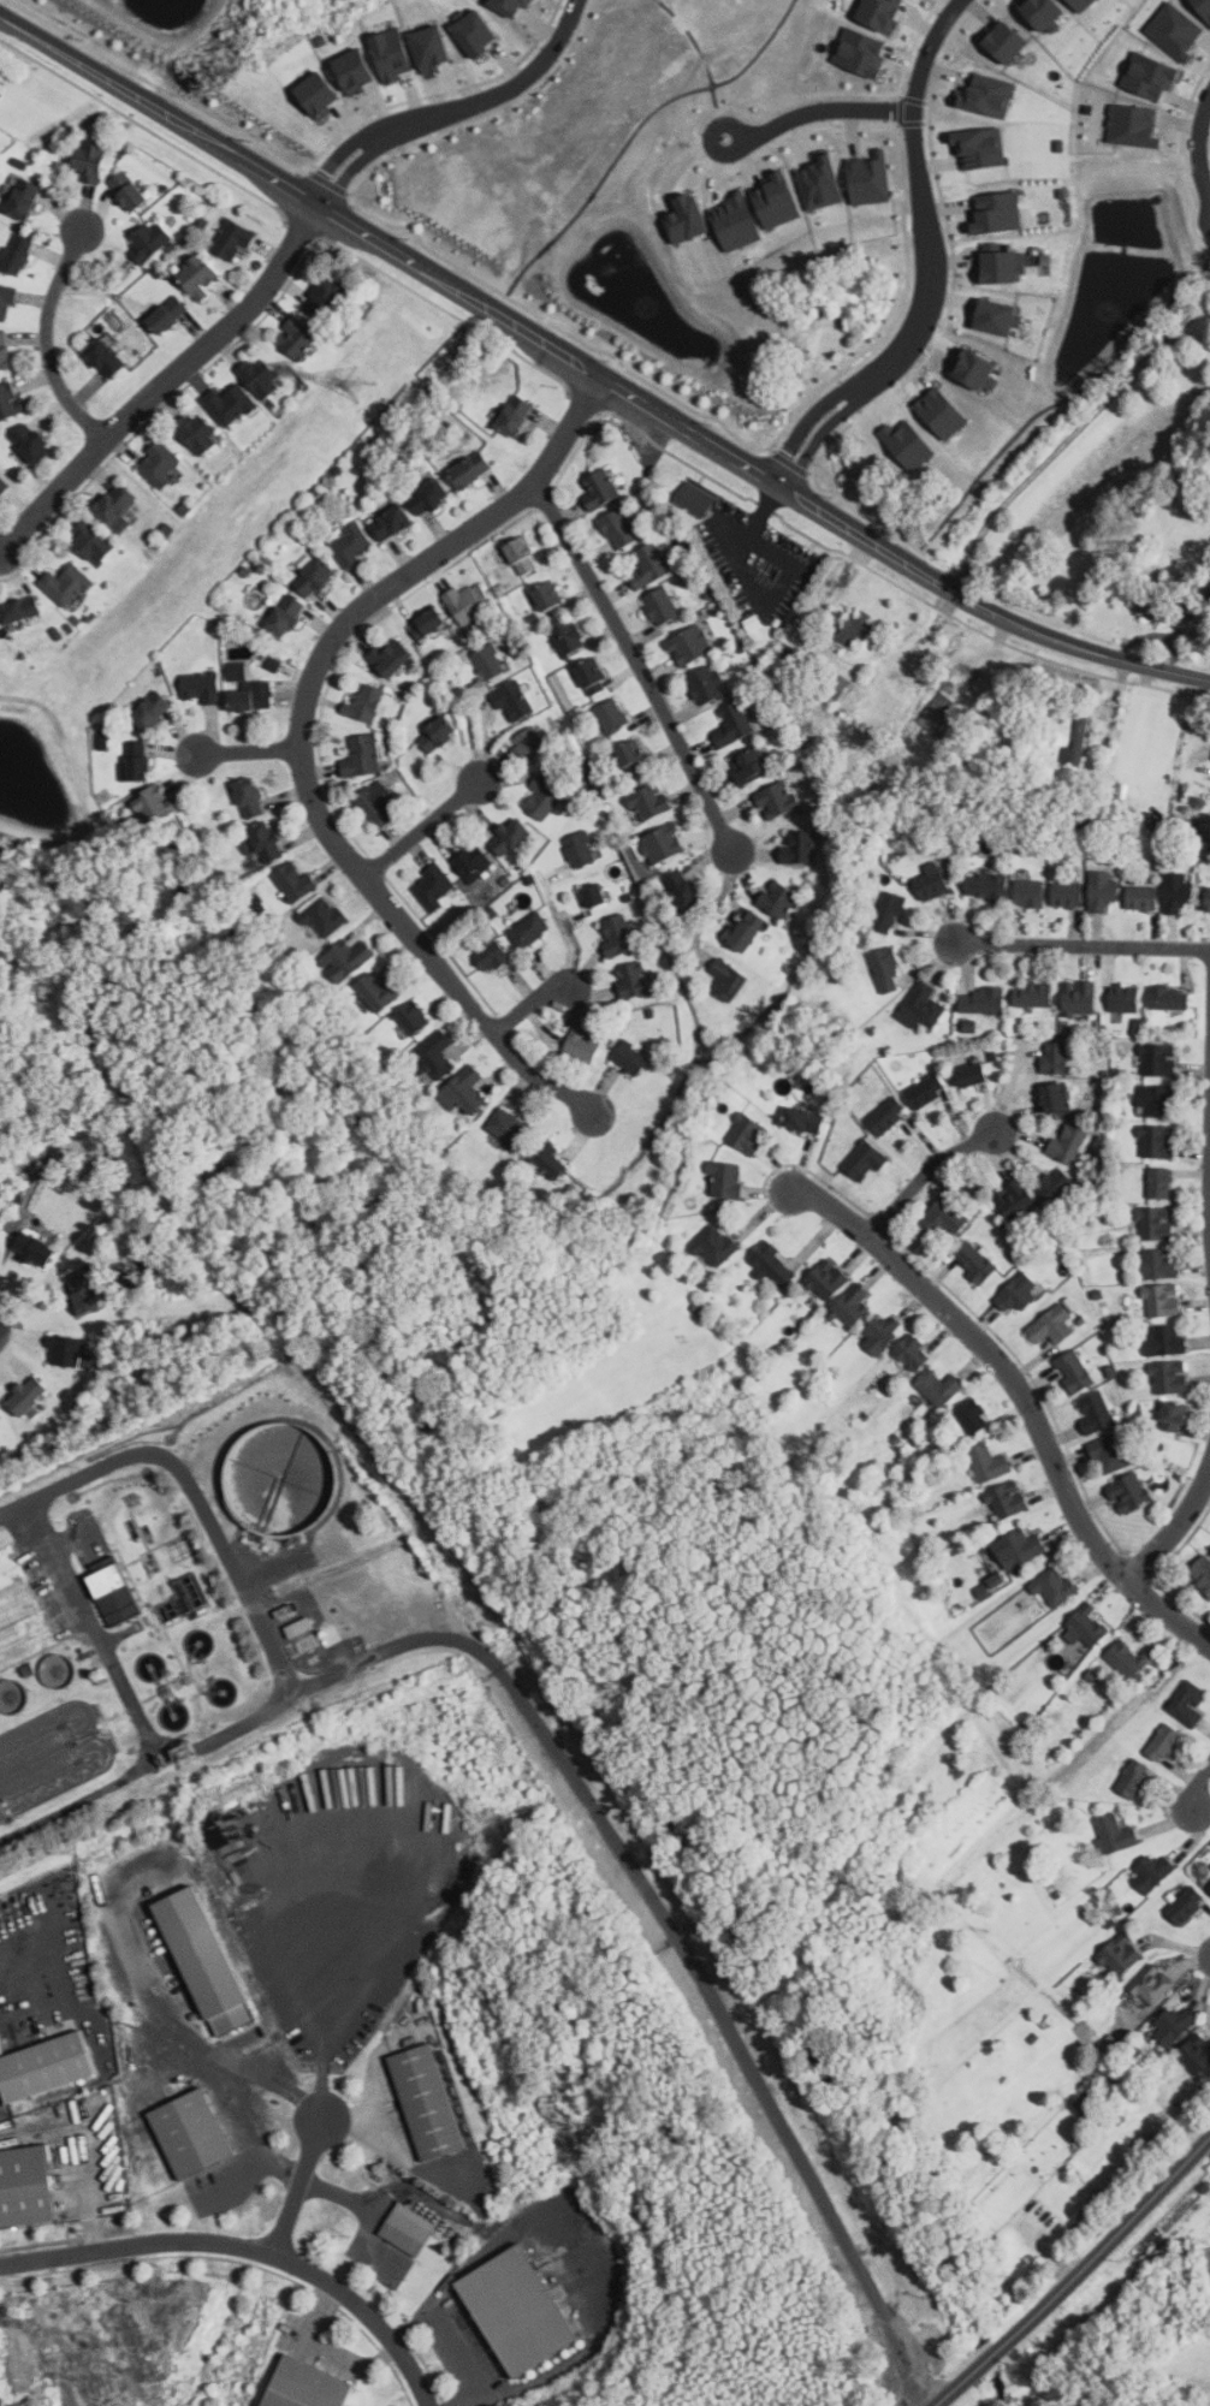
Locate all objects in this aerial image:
building: (1073, 5)
building: (1085, 5)
building: (512, 6)
building: (1204, 7)
building: (884, 13)
building: (1045, 13)
building: (1178, 30)
building: (476, 32)
road: (34, 40)
building: (322, 41)
building: (1008, 42)
building: (433, 49)
building: (862, 53)
building: (393, 54)
building: (357, 72)
building: (1152, 76)
building: (320, 95)
building: (989, 96)
road: (452, 108)
building: (1090, 109)
road: (817, 111)
building: (1135, 126)
road: (1198, 144)
building: (1062, 145)
building: (983, 148)
building: (91, 159)
building: (871, 179)
building: (823, 183)
building: (129, 190)
building: (1063, 192)
road: (920, 197)
building: (25, 198)
building: (779, 202)
building: (1000, 214)
building: (690, 220)
building: (739, 222)
building: (232, 239)
building: (150, 240)
building: (18, 253)
building: (1001, 269)
building: (197, 277)
building: (326, 299)
building: (6, 302)
building: (168, 314)
building: (998, 319)
road: (511, 322)
building: (297, 338)
road: (48, 341)
building: (5, 350)
building: (106, 357)
building: (978, 372)
building: (260, 376)
power tower: (361, 380)
road: (168, 388)
building: (11, 403)
building: (231, 404)
building: (943, 414)
building: (516, 415)
road: (806, 422)
building: (197, 433)
road: (822, 433)
road: (1069, 436)
building: (32, 441)
building: (911, 445)
building: (160, 463)
building: (473, 469)
building: (2, 485)
building: (600, 488)
building: (429, 495)
building: (696, 499)
building: (117, 507)
road: (763, 510)
building: (392, 522)
building: (618, 529)
building: (91, 540)
building: (352, 545)
building: (523, 556)
building: (650, 565)
building: (315, 576)
building: (66, 584)
road: (775, 590)
building: (547, 595)
building: (469, 601)
building: (662, 606)
building: (1155, 606)
building: (20, 608)
building: (285, 617)
building: (1199, 617)
building: (428, 623)
building: (856, 628)
building: (568, 635)
building: (689, 644)
road: (1076, 647)
building: (391, 657)
building: (490, 661)
building: (275, 663)
road: (639, 664)
building: (238, 670)
building: (159, 671)
building: (592, 676)
building: (829, 684)
building: (201, 685)
building: (706, 685)
building: (253, 696)
building: (514, 700)
building: (364, 703)
building: (153, 709)
building: (941, 713)
building: (612, 715)
building: (734, 724)
building: (439, 735)
building: (105, 737)
road: (301, 742)
building: (1078, 743)
building: (532, 744)
road: (250, 751)
building: (362, 756)
building: (633, 758)
building: (137, 760)
building: (749, 765)
building: (1121, 790)
building: (544, 796)
building: (250, 797)
building: (777, 798)
building: (650, 801)
building: (155, 804)
building: (379, 804)
road: (426, 833)
building: (511, 837)
building: (263, 842)
building: (664, 843)
building: (799, 848)
building: (580, 850)
building: (473, 862)
building: (931, 880)
building: (297, 883)
building: (434, 886)
building: (986, 886)
building: (684, 890)
building: (1103, 890)
building: (1178, 892)
building: (1030, 893)
building: (1067, 893)
building: (597, 896)
building: (1143, 898)
building: (779, 899)
building: (1209, 899)
road: (710, 904)
building: (889, 911)
building: (324, 915)
building: (747, 929)
building: (529, 931)
road: (567, 935)
building: (618, 935)
road: (1083, 944)
building: (491, 954)
building: (348, 958)
building: (886, 970)
building: (728, 979)
building: (634, 980)
building: (379, 991)
building: (1033, 994)
building: (1169, 997)
building: (1080, 998)
building: (1125, 998)
building: (983, 1000)
building: (921, 1006)
road: (533, 1010)
building: (413, 1016)
building: (582, 1044)
building: (435, 1055)
building: (1056, 1057)
building: (631, 1058)
building: (1158, 1059)
building: (974, 1074)
building: (464, 1091)
building: (926, 1091)
building: (1056, 1097)
building: (1157, 1098)
building: (886, 1115)
building: (802, 1119)
building: (509, 1127)
building: (748, 1134)
building: (1157, 1141)
building: (1068, 1143)
building: (550, 1159)
building: (865, 1159)
building: (726, 1180)
road: (930, 1180)
building: (1159, 1183)
building: (1055, 1184)
building: (1016, 1200)
building: (944, 1219)
building: (1157, 1224)
building: (714, 1244)
building: (35, 1248)
building: (975, 1263)
building: (773, 1265)
building: (1155, 1265)
building: (828, 1279)
building: (85, 1293)
building: (1018, 1294)
building: (1163, 1301)
building: (852, 1306)
building: (1051, 1326)
building: (882, 1333)
building: (1165, 1341)
building: (65, 1351)
building: (913, 1353)
building: (1075, 1372)
building: (1170, 1377)
building: (939, 1388)
building: (29, 1395)
road: (1024, 1398)
building: (1096, 1413)
building: (972, 1416)
building: (1175, 1416)
building: (0, 1418)
building: (1113, 1452)
building: (989, 1462)
building: (1128, 1492)
building: (1008, 1499)
road: (11, 1510)
road: (1174, 1534)
building: (1021, 1547)
building: (1202, 1573)
building: (984, 1584)
building: (1056, 1586)
building: (115, 1588)
building: (183, 1594)
building: (1089, 1624)
building: (292, 1627)
building: (1128, 1659)
building: (1188, 1703)
road: (527, 1709)
road: (138, 1713)
road: (231, 1727)
building: (1165, 1743)
building: (1131, 1778)
road: (1198, 1788)
building: (1115, 1835)
building: (1152, 1872)
building: (1209, 1884)
building: (1186, 1906)
building: (1121, 1955)
building: (208, 1960)
building: (1152, 1983)
road: (11, 2015)
building: (1173, 2024)
road: (183, 2033)
road: (322, 2039)
building: (1197, 2052)
building: (47, 2066)
building: (429, 2103)
road: (262, 2128)
building: (195, 2134)
building: (26, 2188)
road: (299, 2188)
road: (333, 2196)
building: (409, 2229)
road: (247, 2248)
road: (1078, 2276)
building: (521, 2309)
road: (449, 2340)
road: (892, 2340)
road: (908, 2382)
building: (309, 2384)

